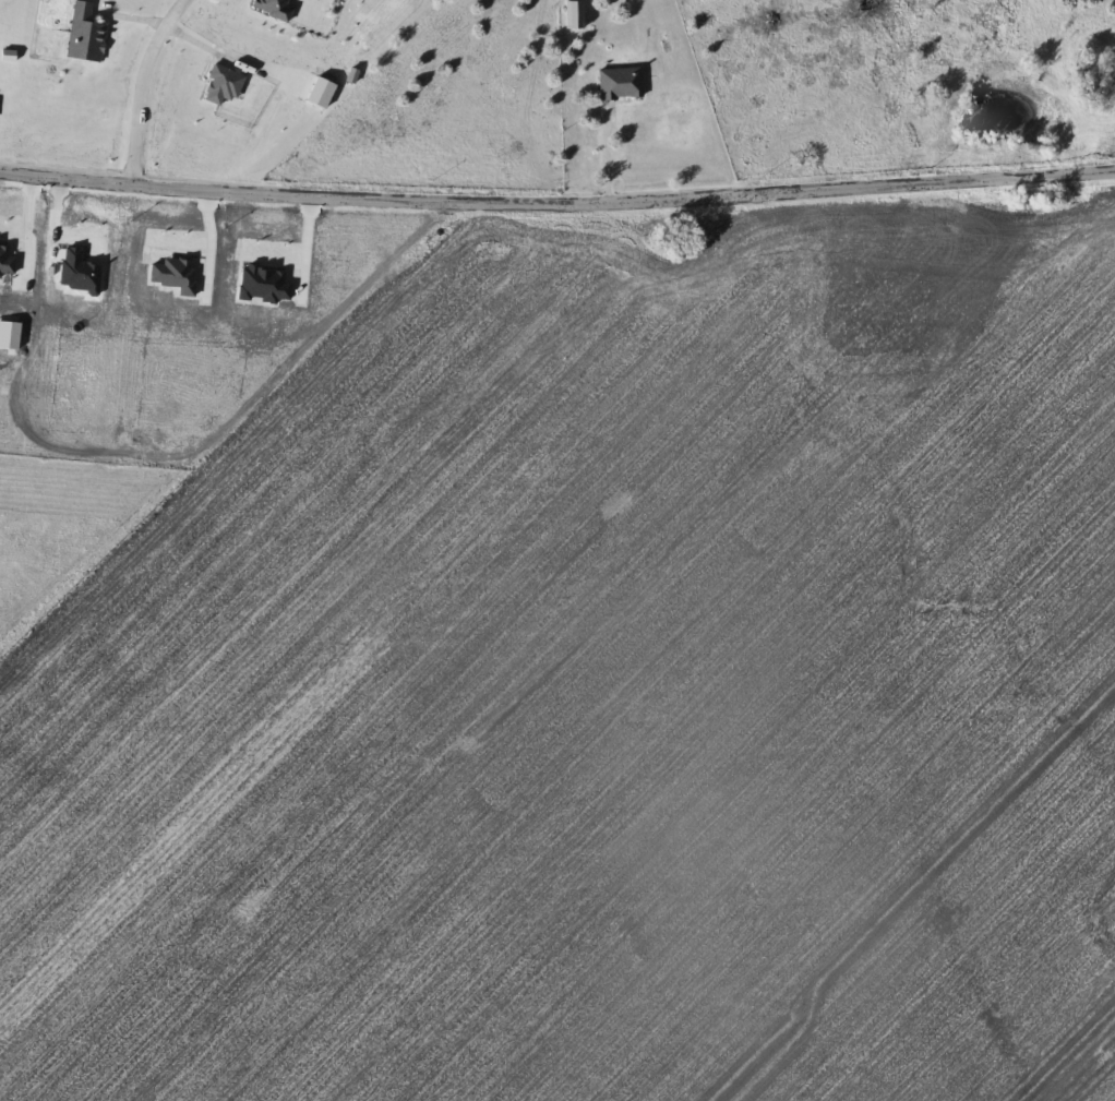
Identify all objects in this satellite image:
building: (275, 8)
building: (568, 13)
building: (86, 34)
building: (615, 82)
road: (143, 89)
road: (599, 154)
road: (557, 204)

